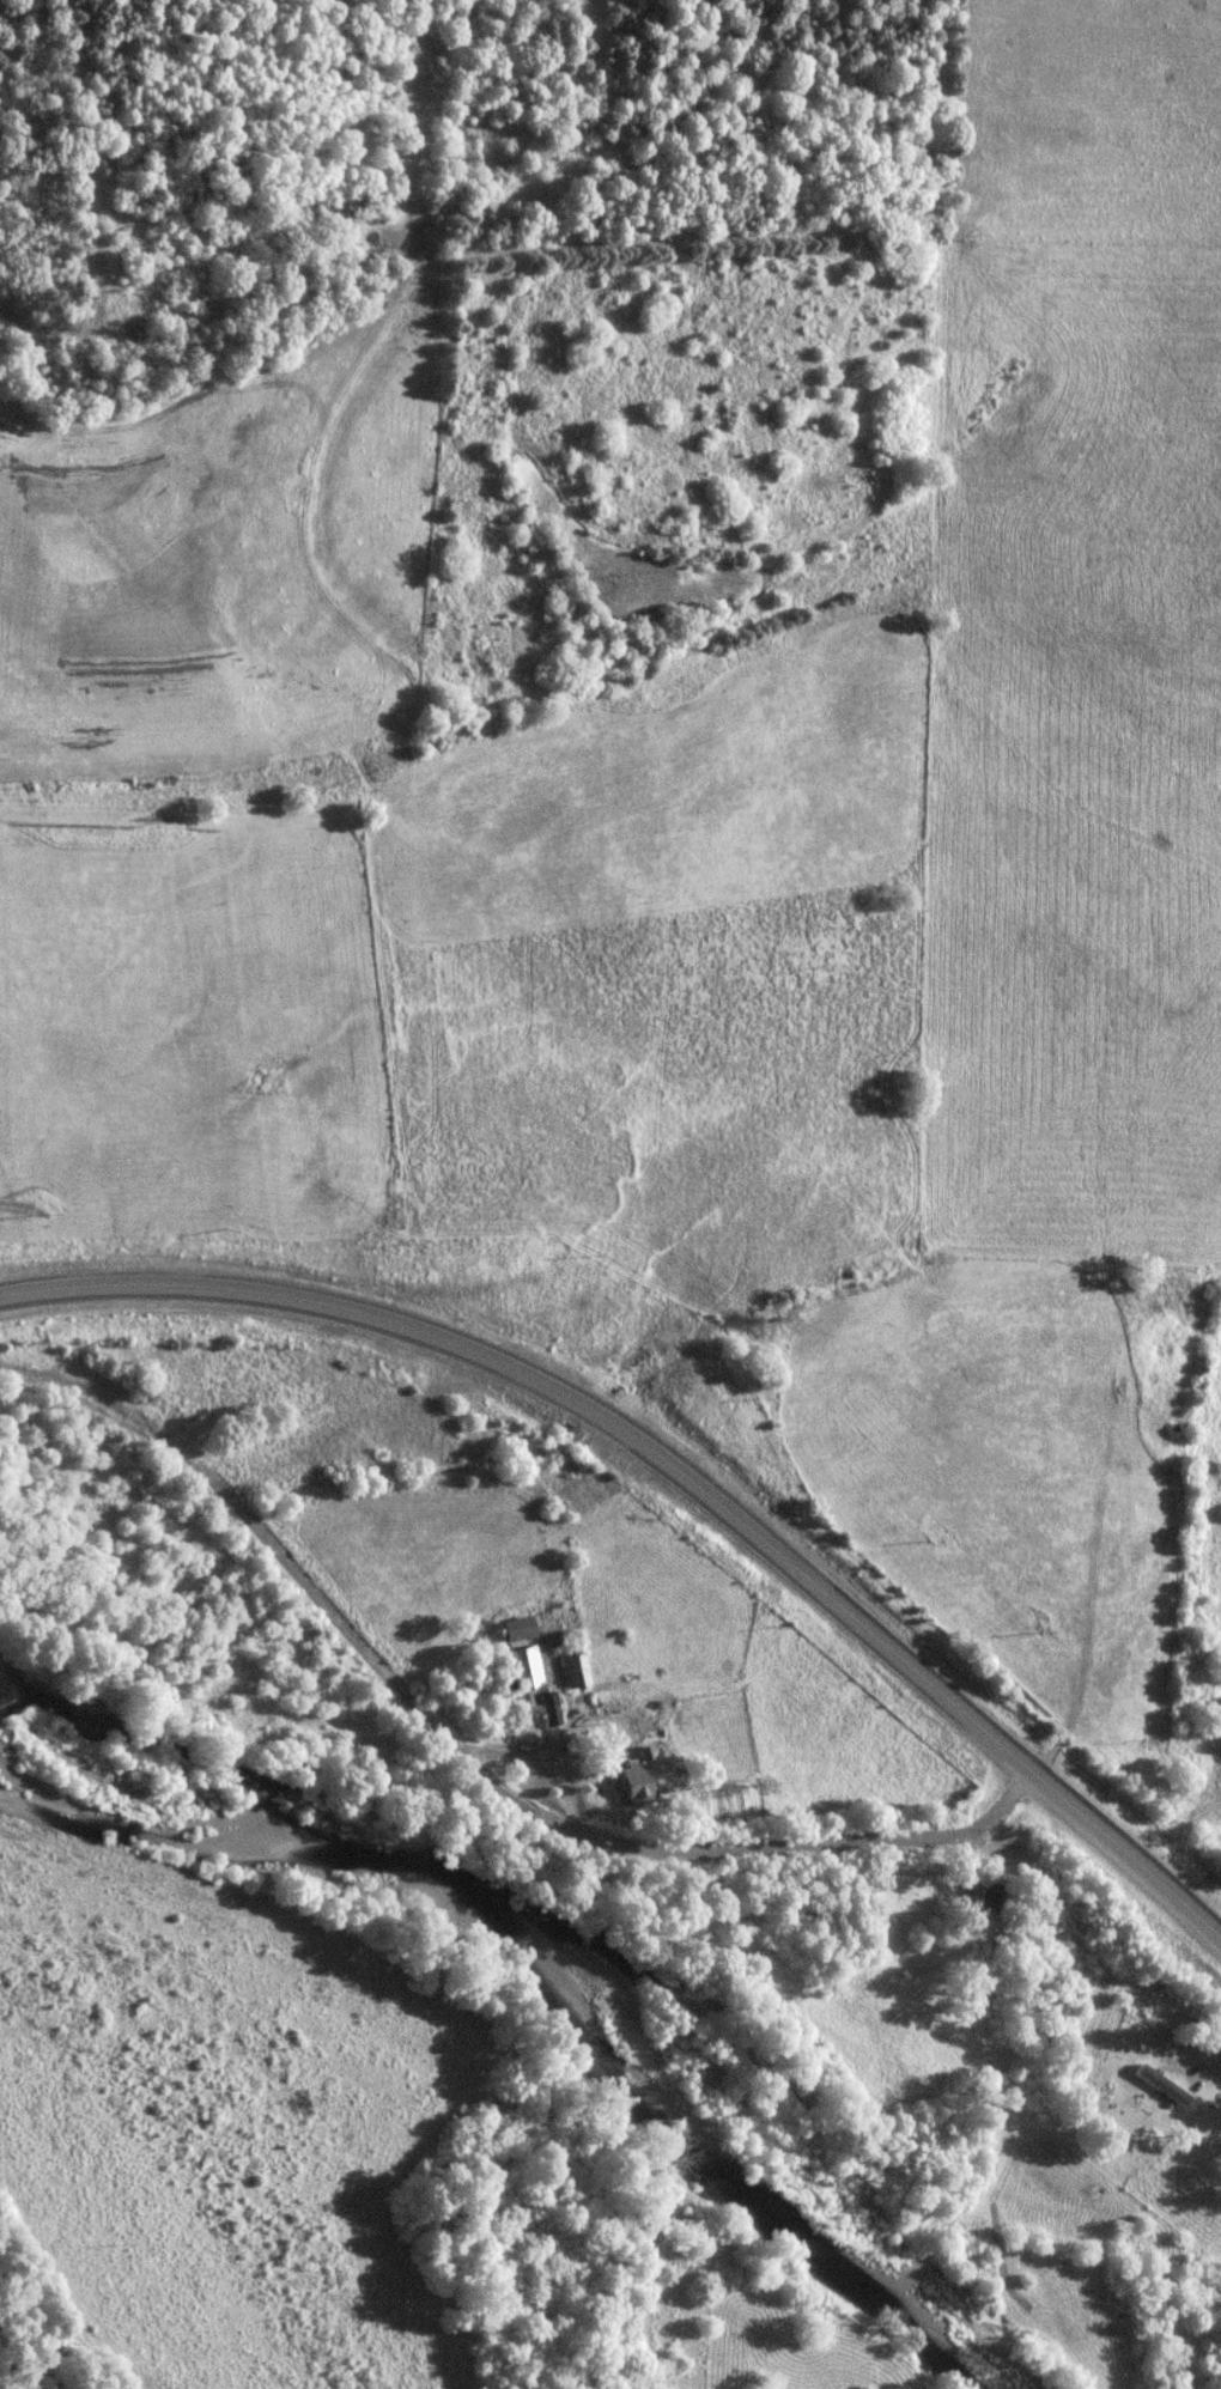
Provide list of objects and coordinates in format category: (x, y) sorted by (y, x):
road: (679, 1466)
building: (508, 1628)
building: (572, 1668)
building: (517, 1672)
building: (621, 1783)
road: (560, 1830)
road: (1209, 2069)

